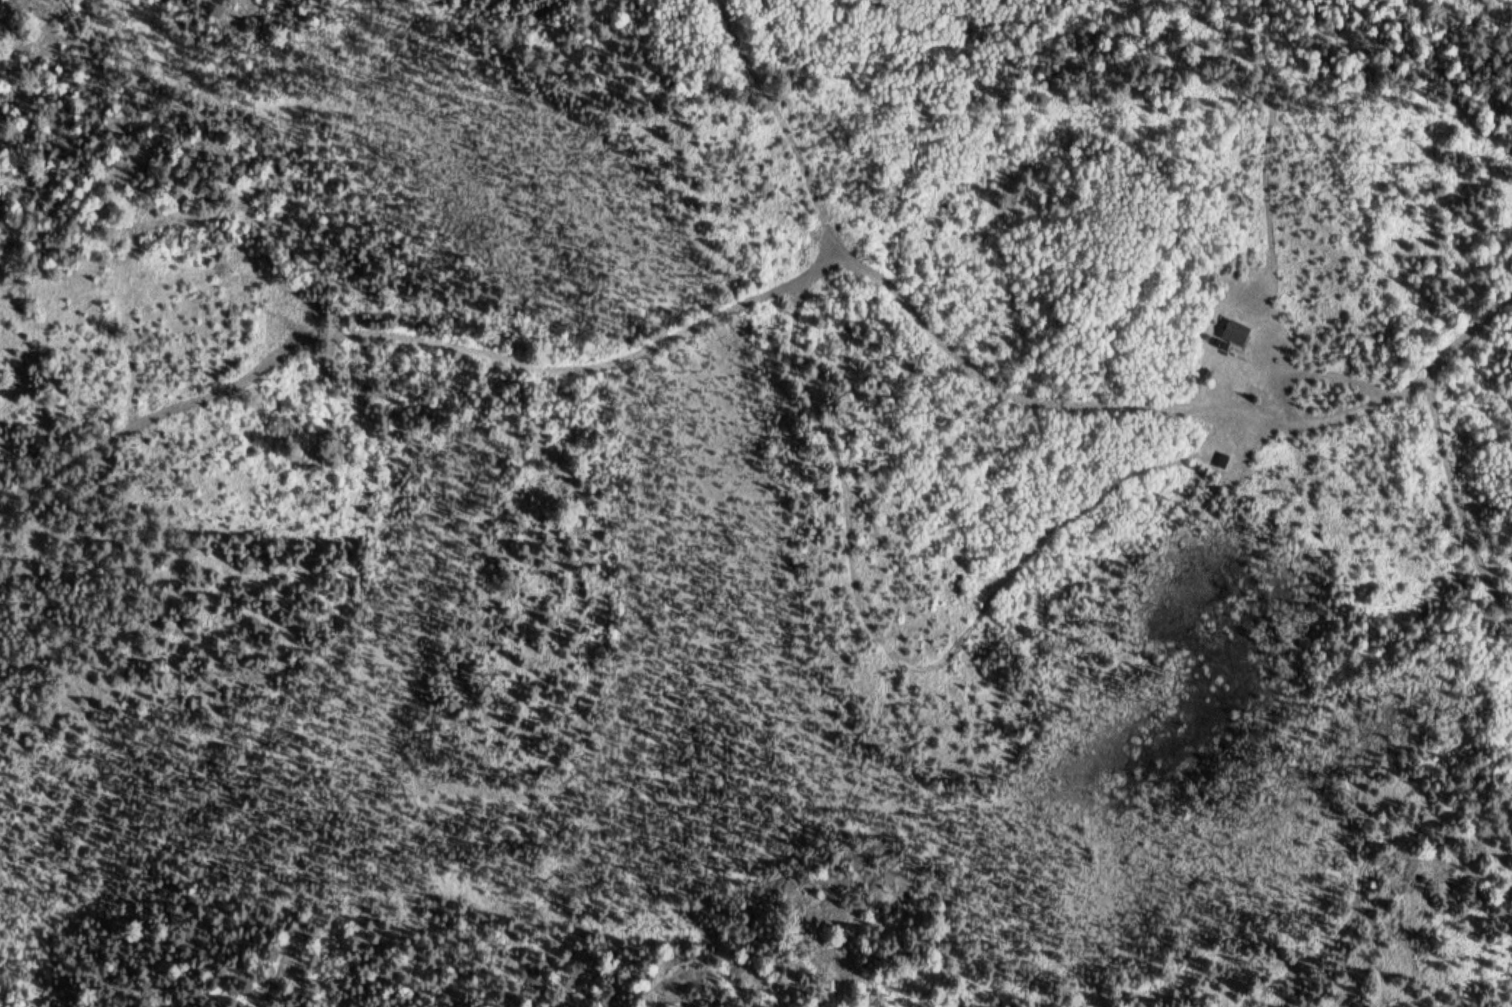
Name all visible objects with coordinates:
building: (1240, 331)
road: (635, 348)

